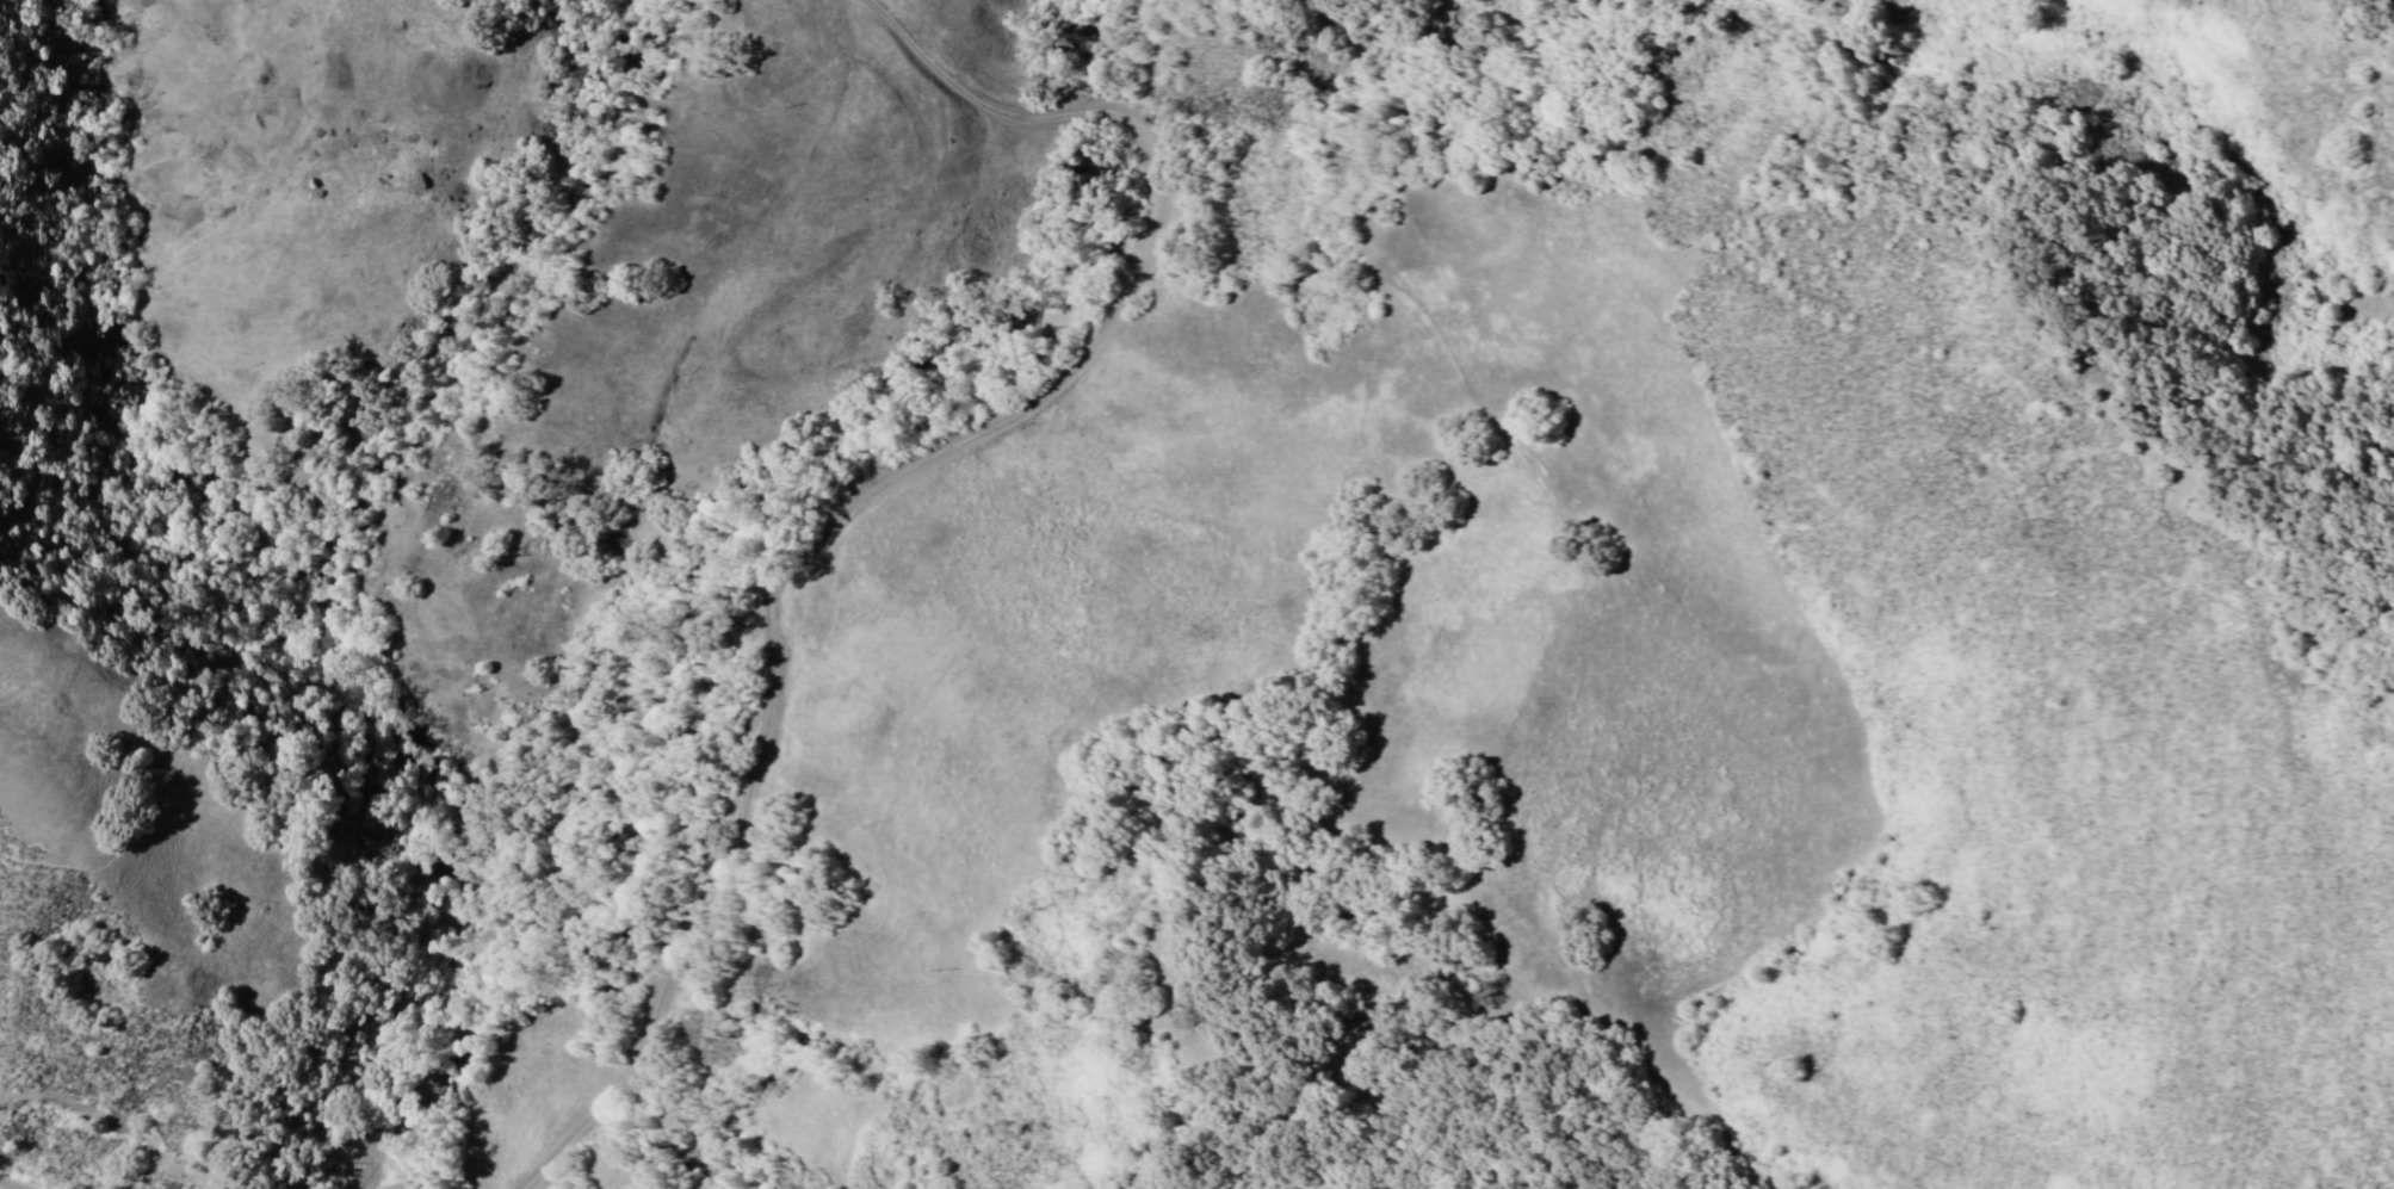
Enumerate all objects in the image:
road: (862, 494)
road: (1346, 797)
road: (11, 1182)

